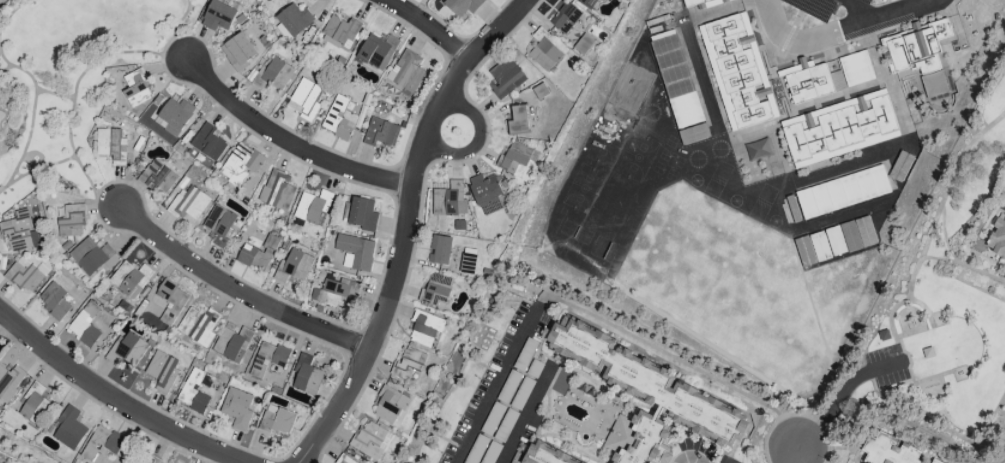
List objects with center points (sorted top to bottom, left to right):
building: (587, 3)
building: (462, 6)
parking lot: (835, 7)
road: (860, 8)
building: (218, 16)
building: (565, 17)
building: (295, 19)
road: (429, 26)
building: (340, 32)
road: (840, 32)
road: (841, 46)
building: (917, 49)
building: (238, 51)
building: (377, 51)
building: (544, 51)
building: (856, 69)
building: (406, 71)
building: (737, 72)
building: (273, 75)
building: (505, 77)
building: (677, 81)
building: (811, 81)
building: (136, 88)
building: (304, 99)
building: (175, 115)
building: (340, 118)
building: (518, 121)
building: (380, 133)
building: (693, 134)
road: (479, 140)
road: (290, 141)
building: (208, 142)
building: (111, 145)
building: (516, 159)
building: (240, 164)
building: (158, 177)
building: (277, 191)
building: (842, 192)
building: (486, 193)
building: (449, 200)
building: (186, 201)
road: (1003, 206)
building: (311, 207)
building: (362, 214)
building: (71, 221)
building: (219, 225)
road: (406, 226)
building: (19, 232)
road: (933, 232)
building: (858, 234)
road: (946, 238)
building: (997, 239)
building: (835, 241)
building: (820, 246)
building: (439, 250)
building: (804, 251)
building: (355, 252)
building: (258, 254)
building: (93, 256)
building: (467, 263)
road: (964, 265)
building: (293, 267)
building: (24, 275)
building: (130, 279)
building: (435, 291)
road: (239, 292)
building: (330, 294)
building: (55, 301)
park: (945, 302)
building: (85, 325)
building: (198, 326)
building: (426, 330)
building: (232, 342)
building: (126, 350)
building: (268, 358)
building: (408, 363)
parking lot: (886, 366)
building: (162, 371)
building: (306, 376)
building: (10, 382)
road: (495, 382)
building: (193, 392)
building: (644, 392)
road: (116, 399)
building: (35, 404)
road: (840, 405)
building: (386, 406)
building: (237, 409)
road: (525, 416)
building: (277, 421)
building: (68, 428)
building: (370, 441)
building: (101, 443)
road: (691, 450)
building: (887, 450)
building: (151, 459)
road: (789, 459)
building: (346, 462)

